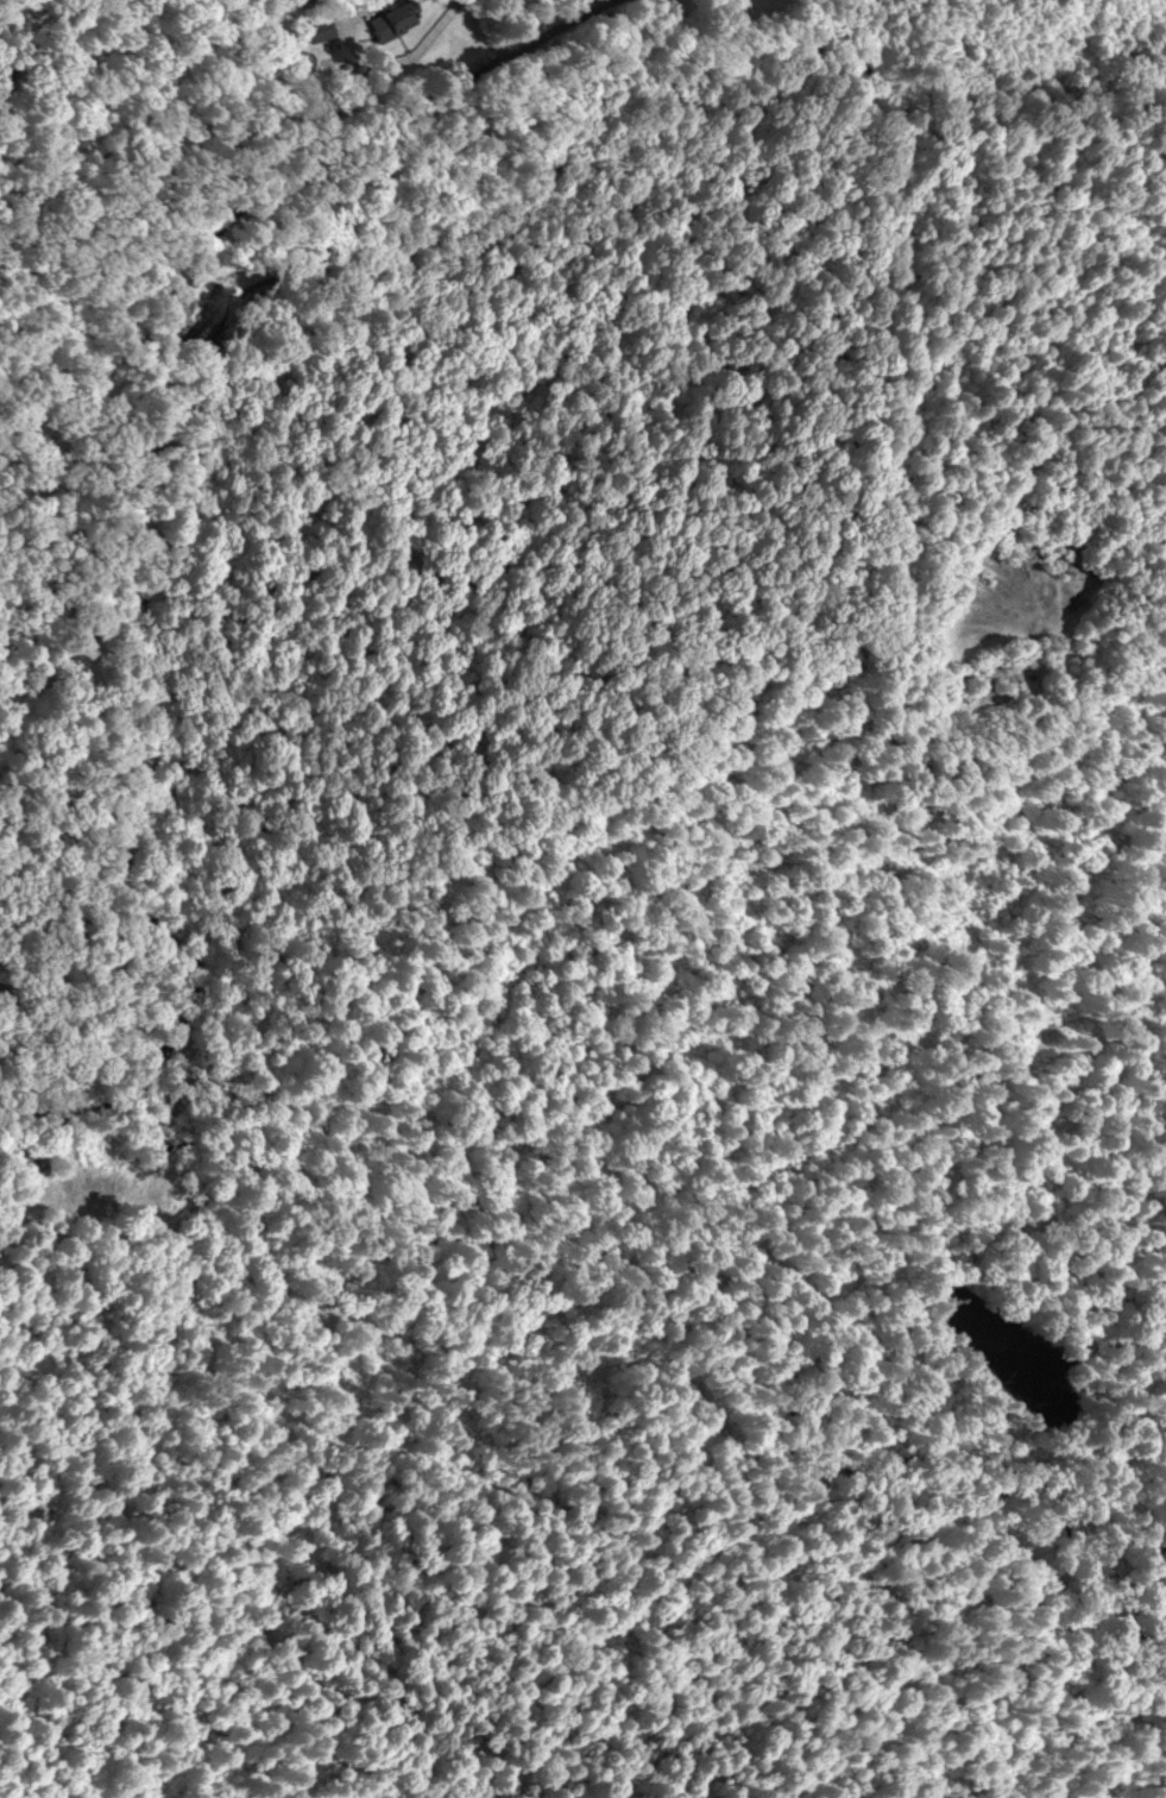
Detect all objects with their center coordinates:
building: (396, 21)
road: (195, 251)
road: (2, 951)

